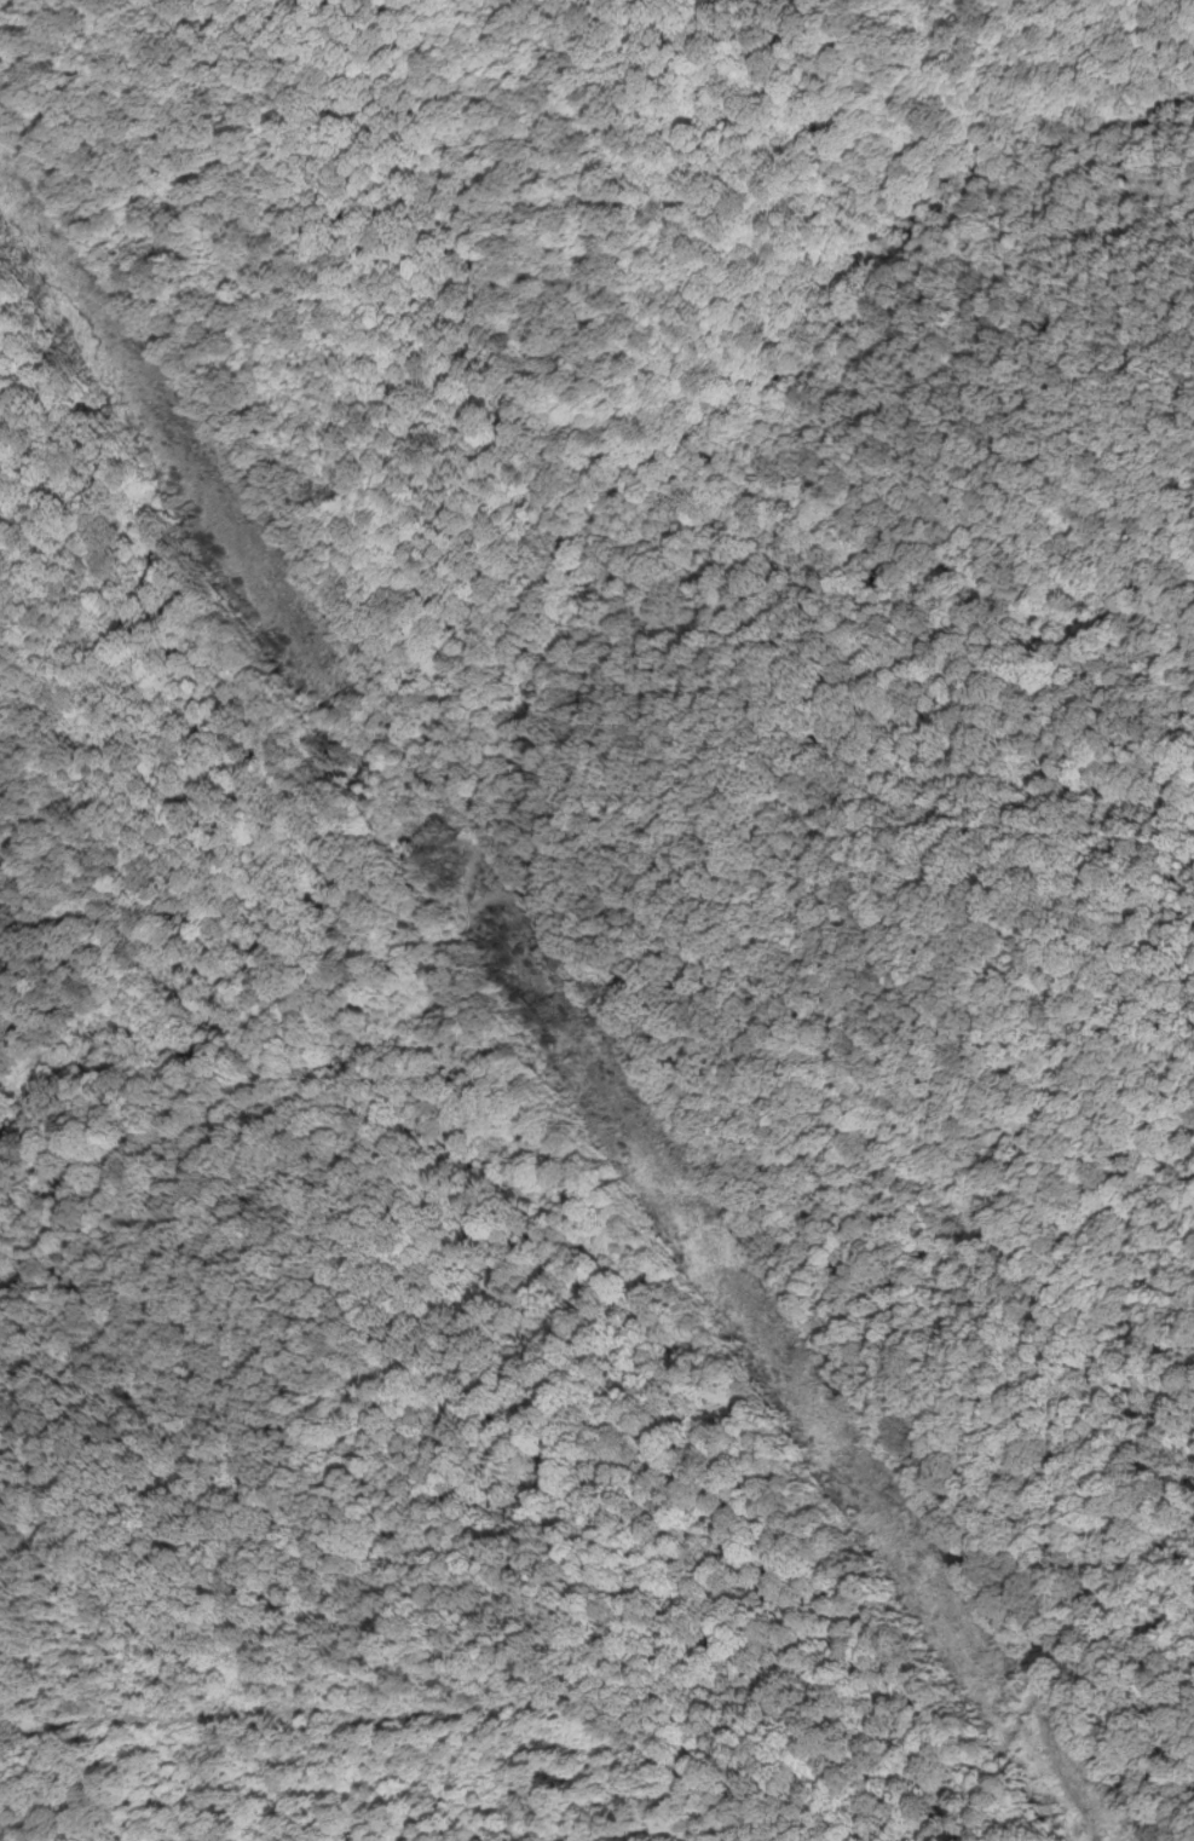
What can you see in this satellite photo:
power tower: (555, 1017)

